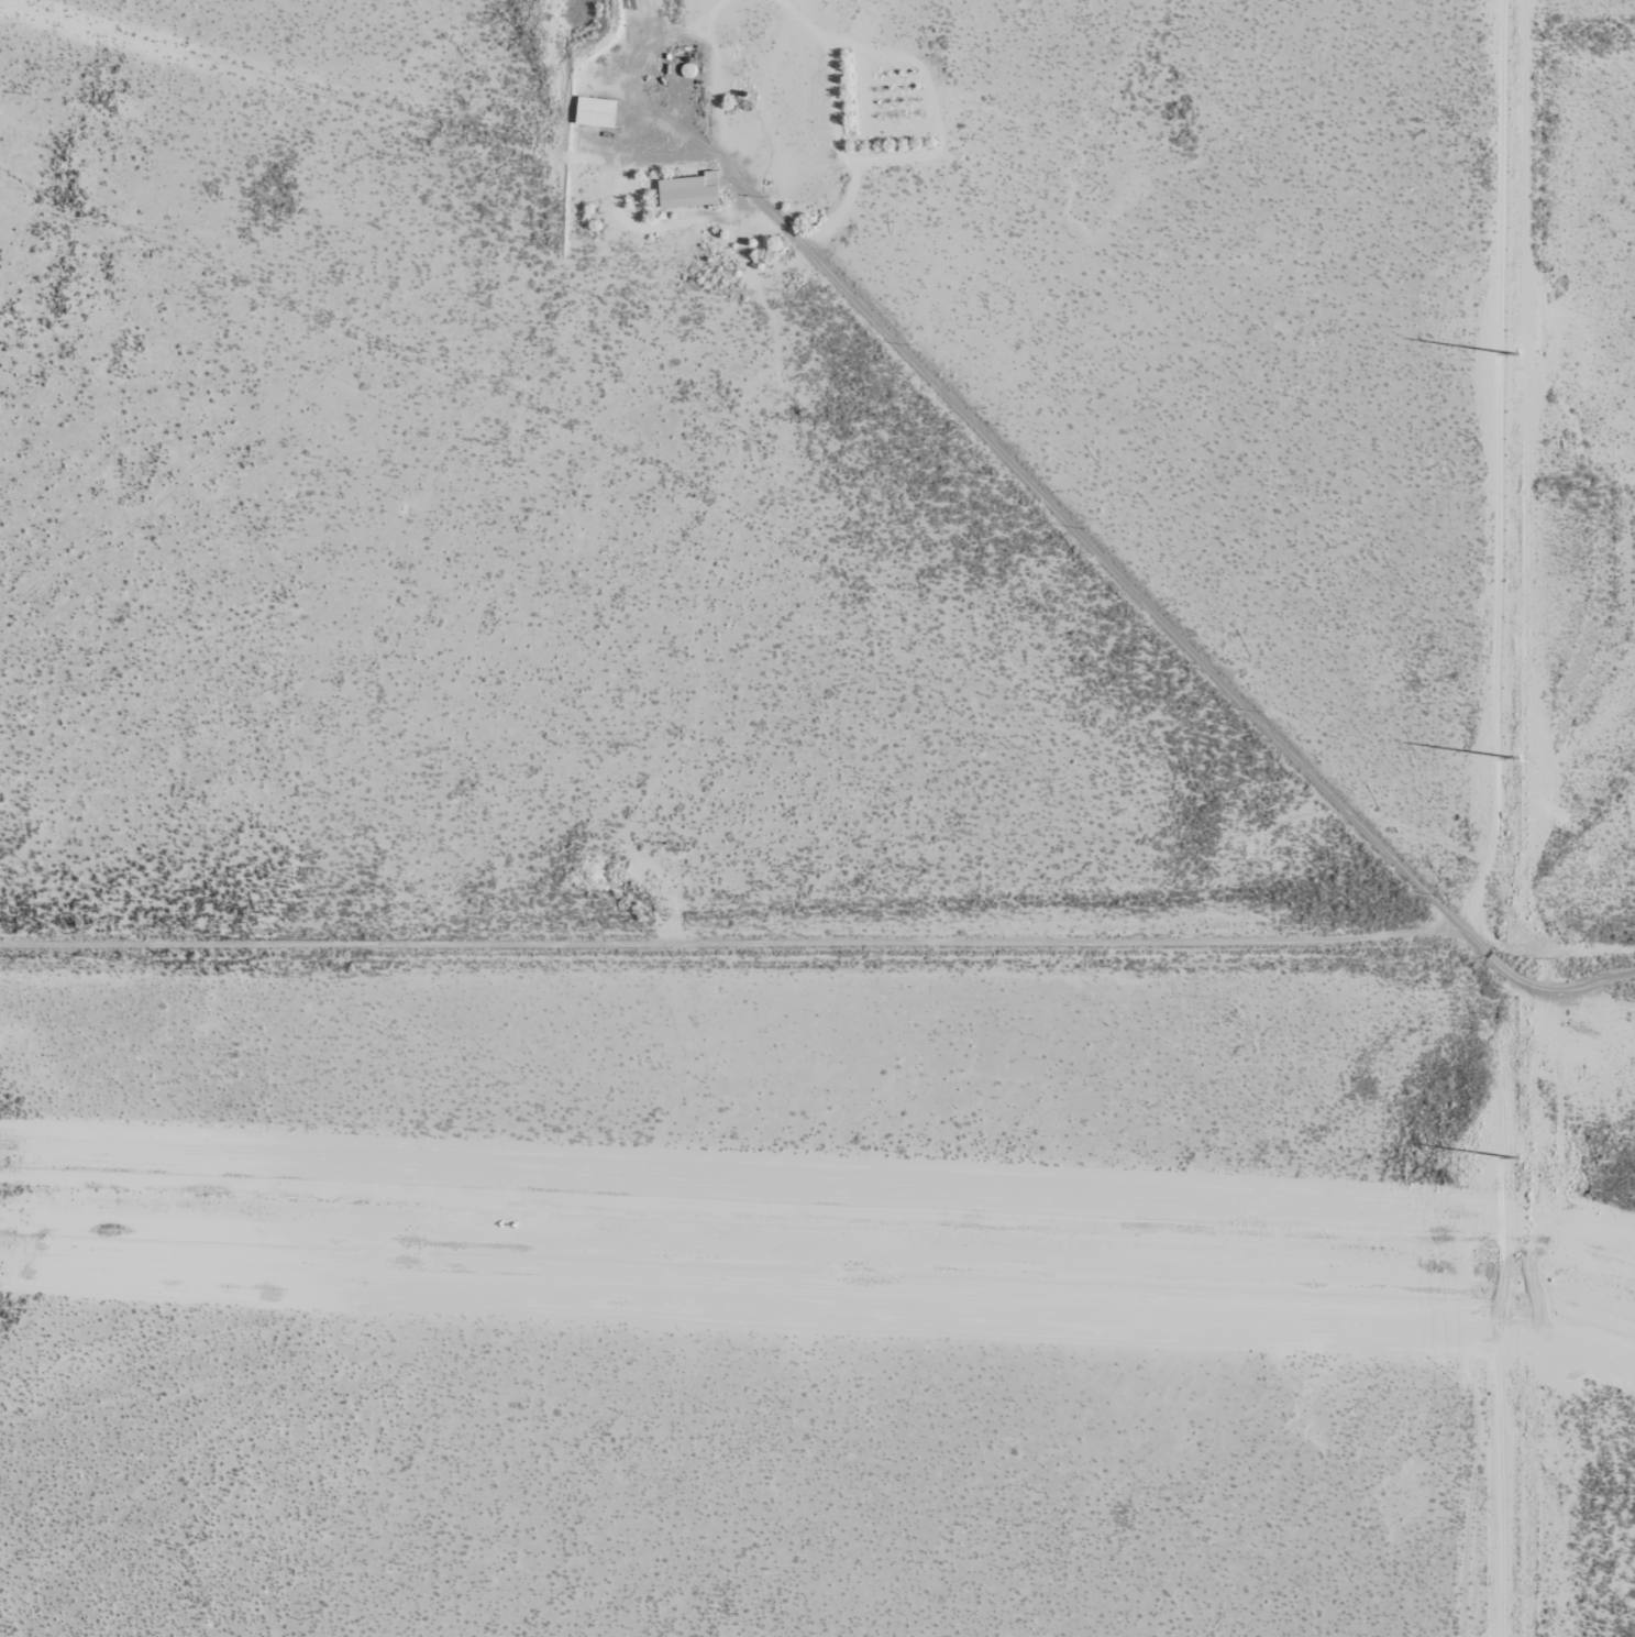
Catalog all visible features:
road: (825, 929)

